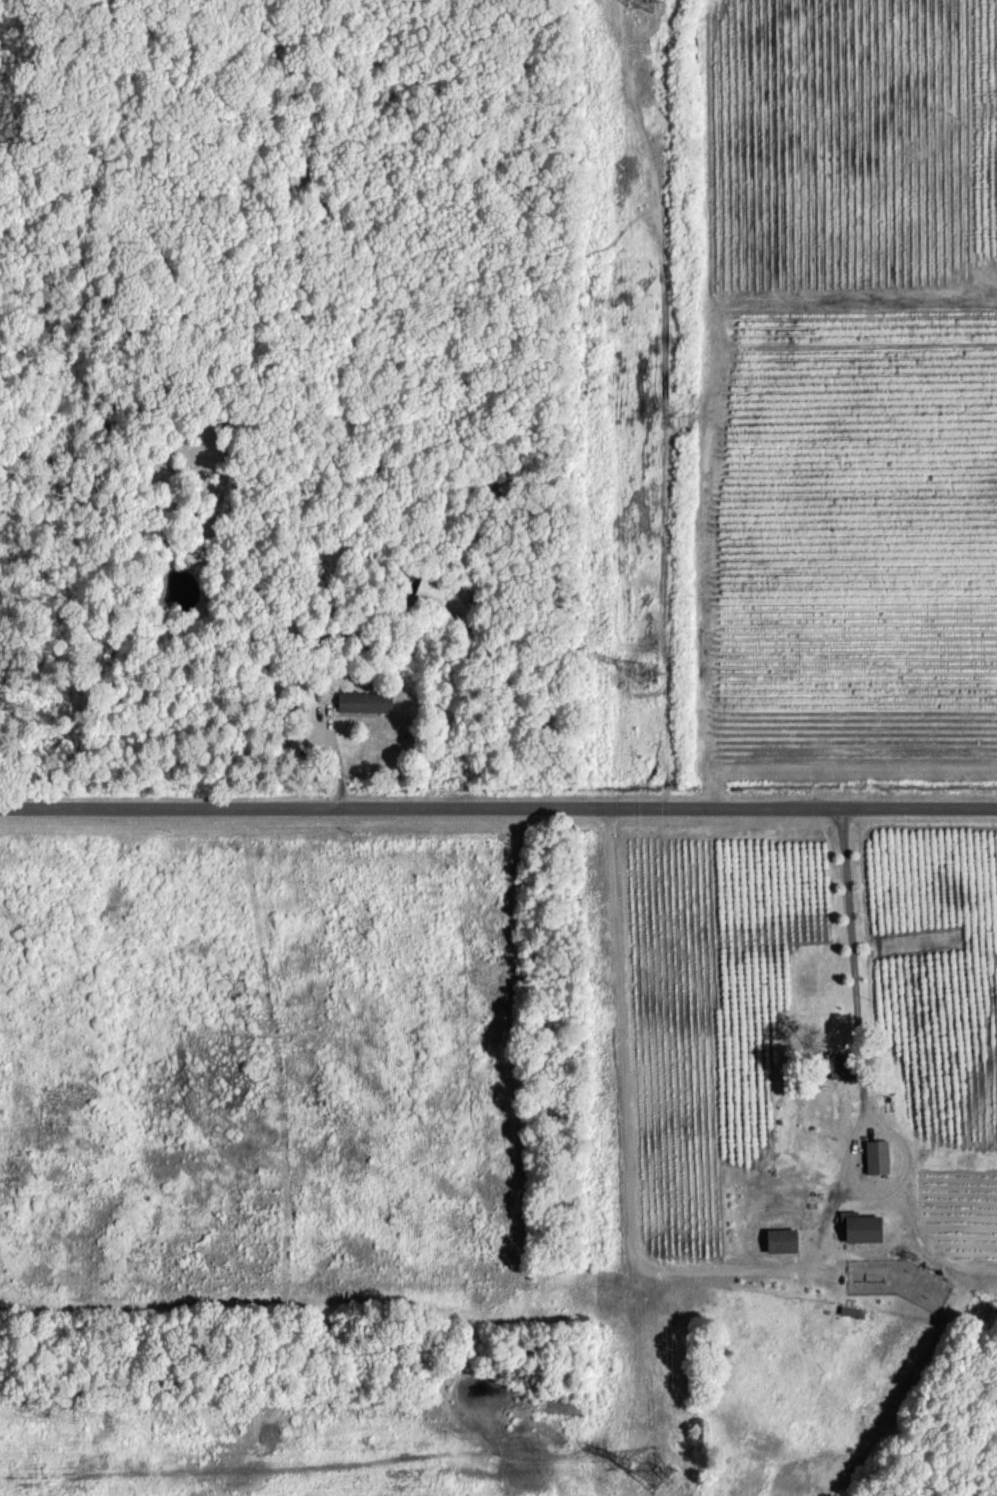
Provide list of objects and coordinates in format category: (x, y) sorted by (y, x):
building: (432, 591)
power tower: (645, 672)
building: (363, 701)
road: (498, 808)
road: (862, 1082)
building: (875, 1156)
road: (628, 1202)
building: (859, 1227)
building: (779, 1240)
road: (860, 1248)
power tower: (650, 1471)

